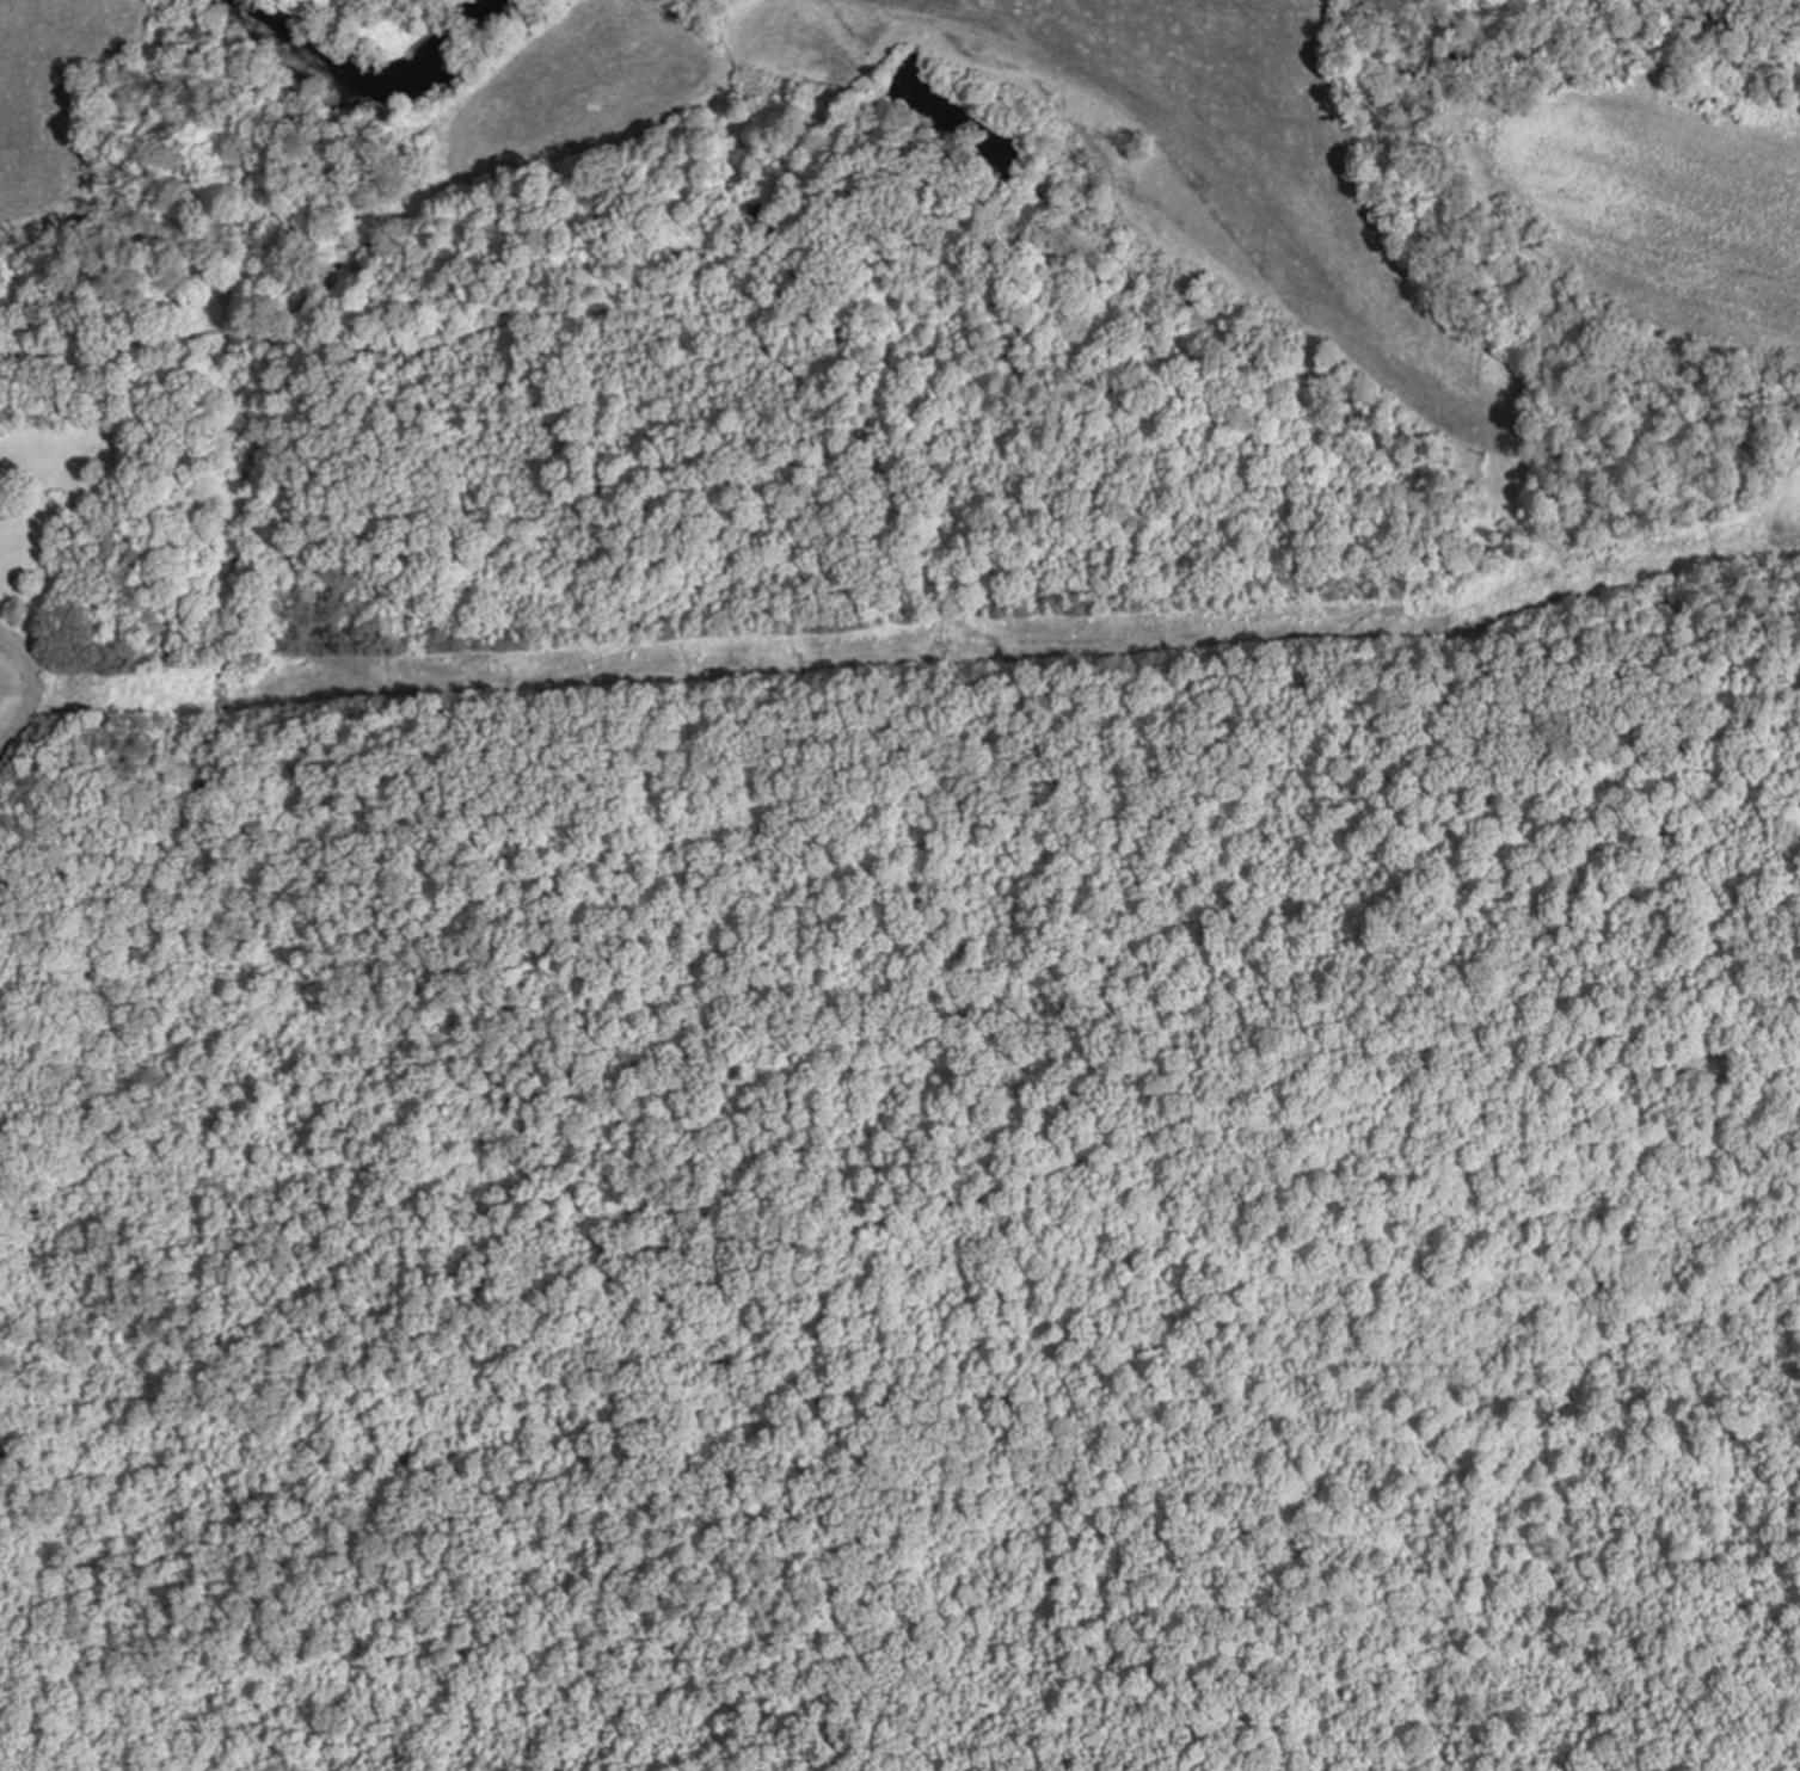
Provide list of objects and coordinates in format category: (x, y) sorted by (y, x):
river: (361, 76)
road: (1173, 1119)

